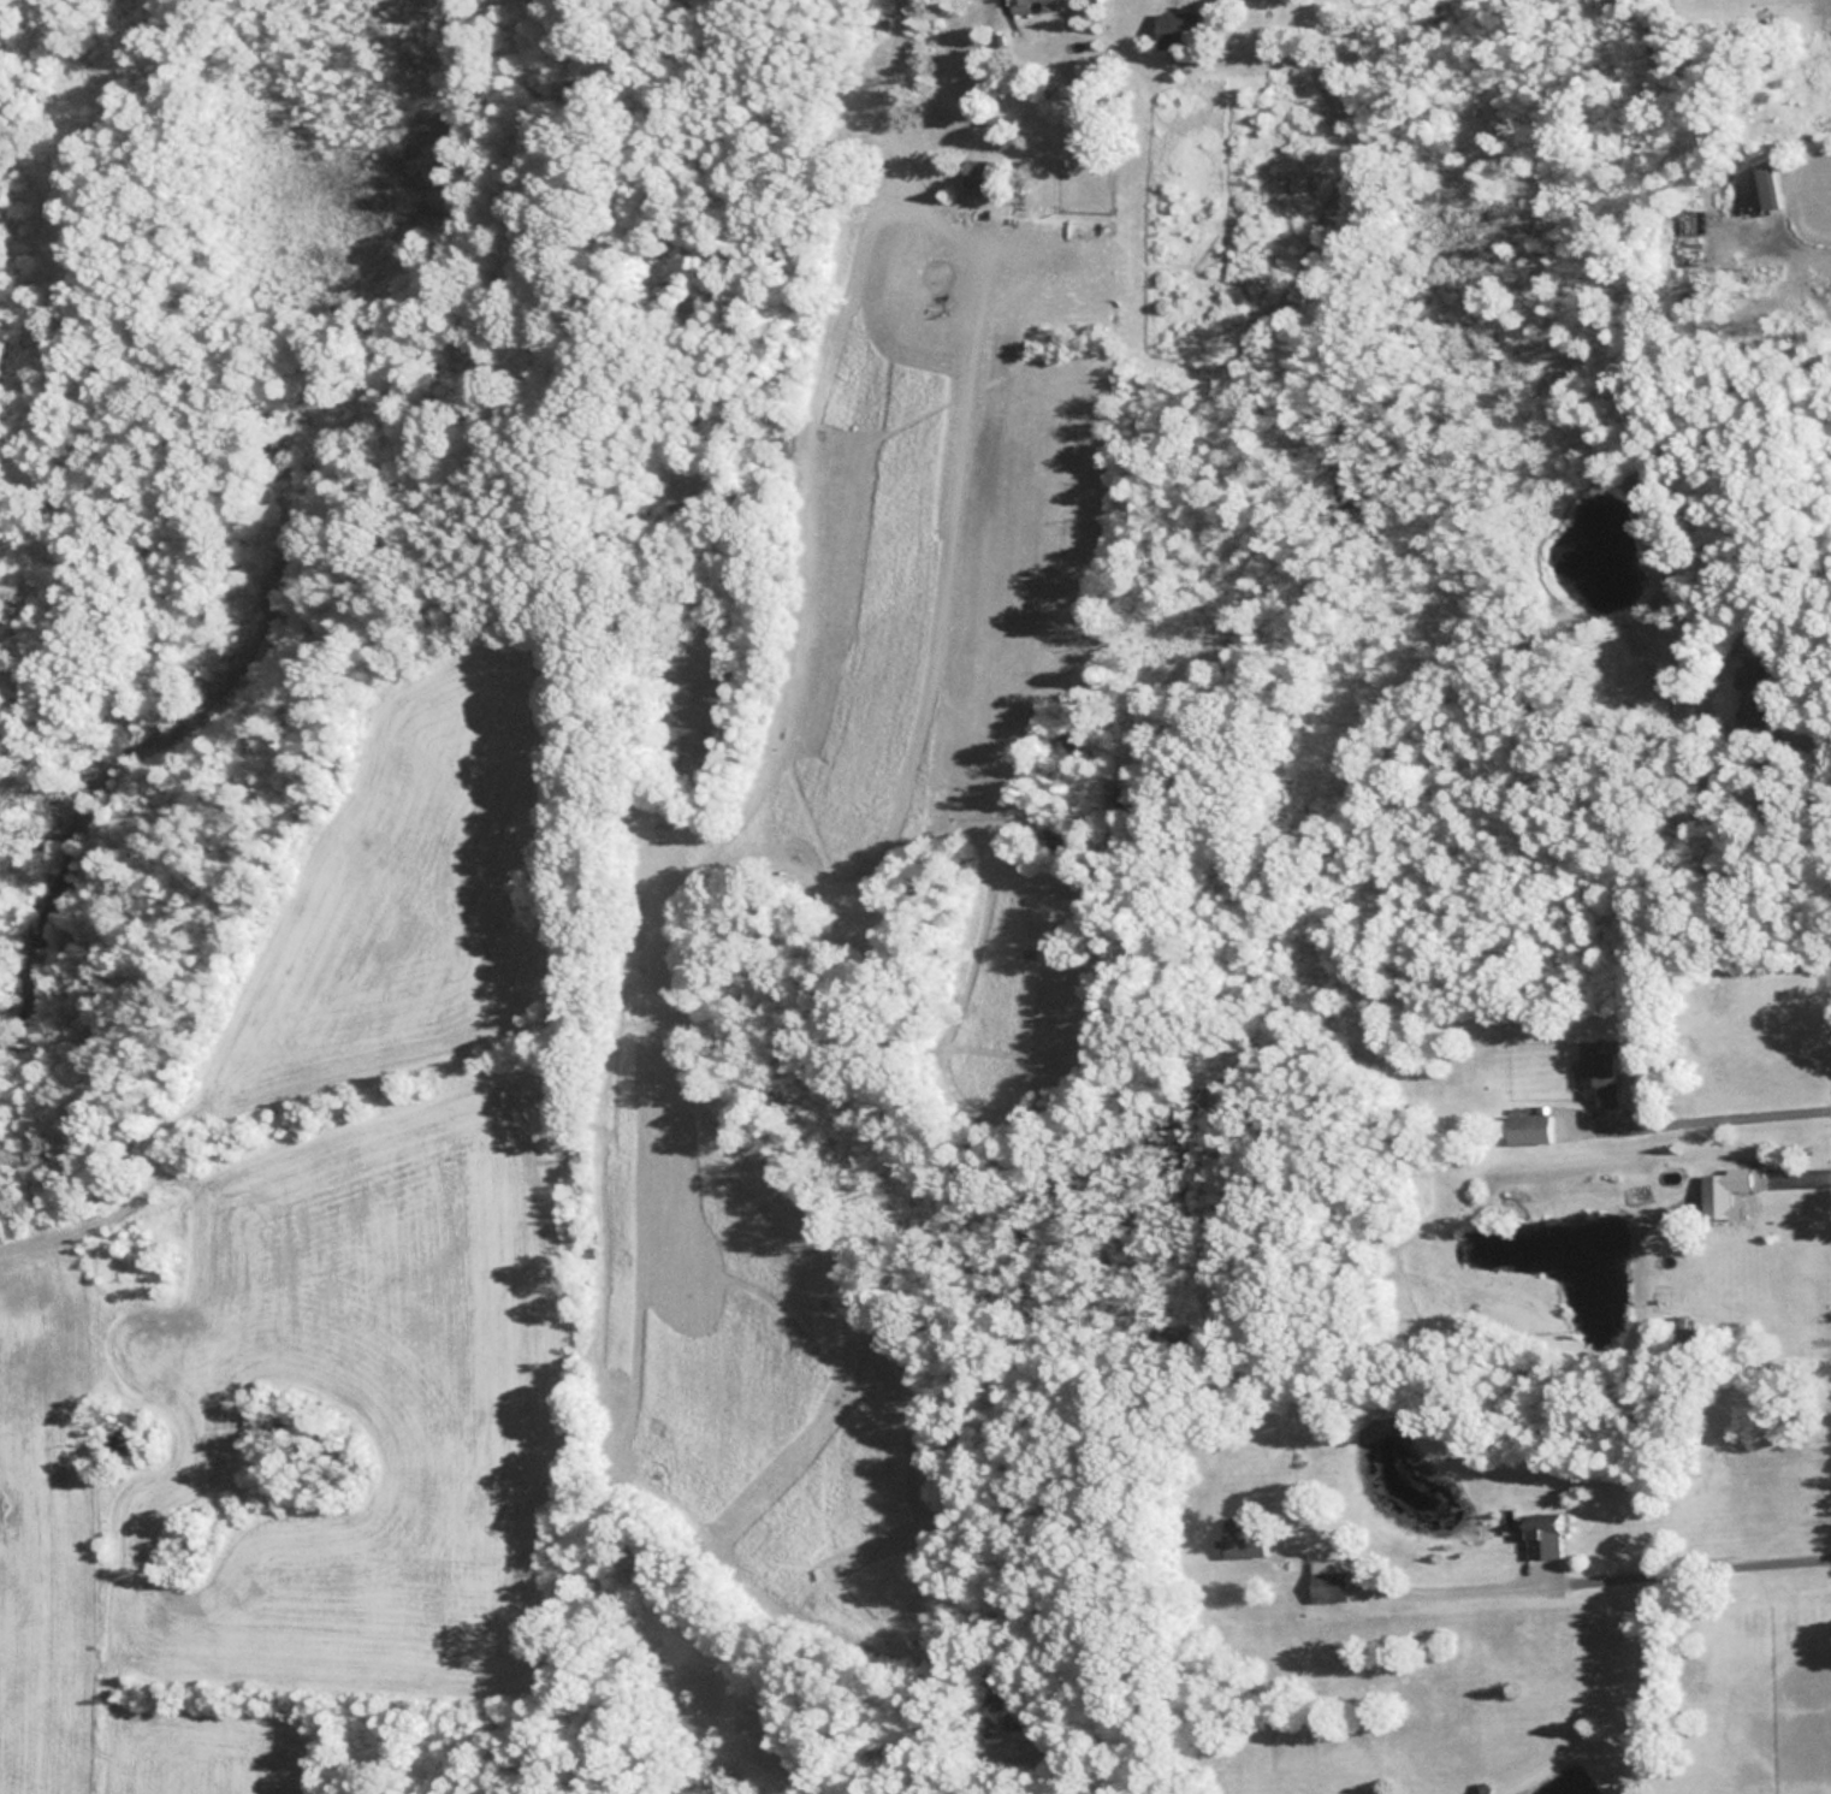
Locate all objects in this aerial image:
building: (1017, 6)
building: (1174, 41)
building: (970, 176)
building: (1761, 188)
building: (1598, 1071)
road: (1722, 1113)
building: (1525, 1126)
building: (1719, 1191)
building: (1243, 1537)
building: (1543, 1537)
road: (1626, 1573)

